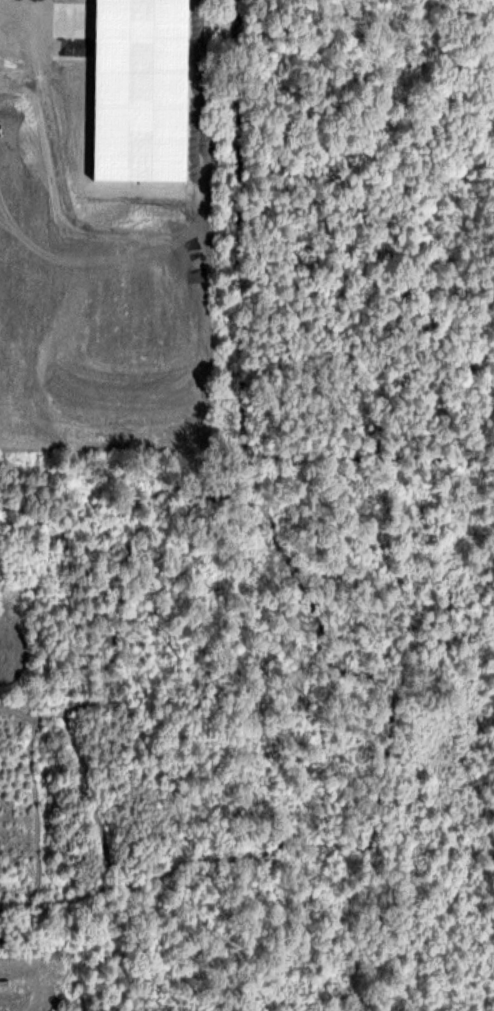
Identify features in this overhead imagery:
building: (3, 941)

